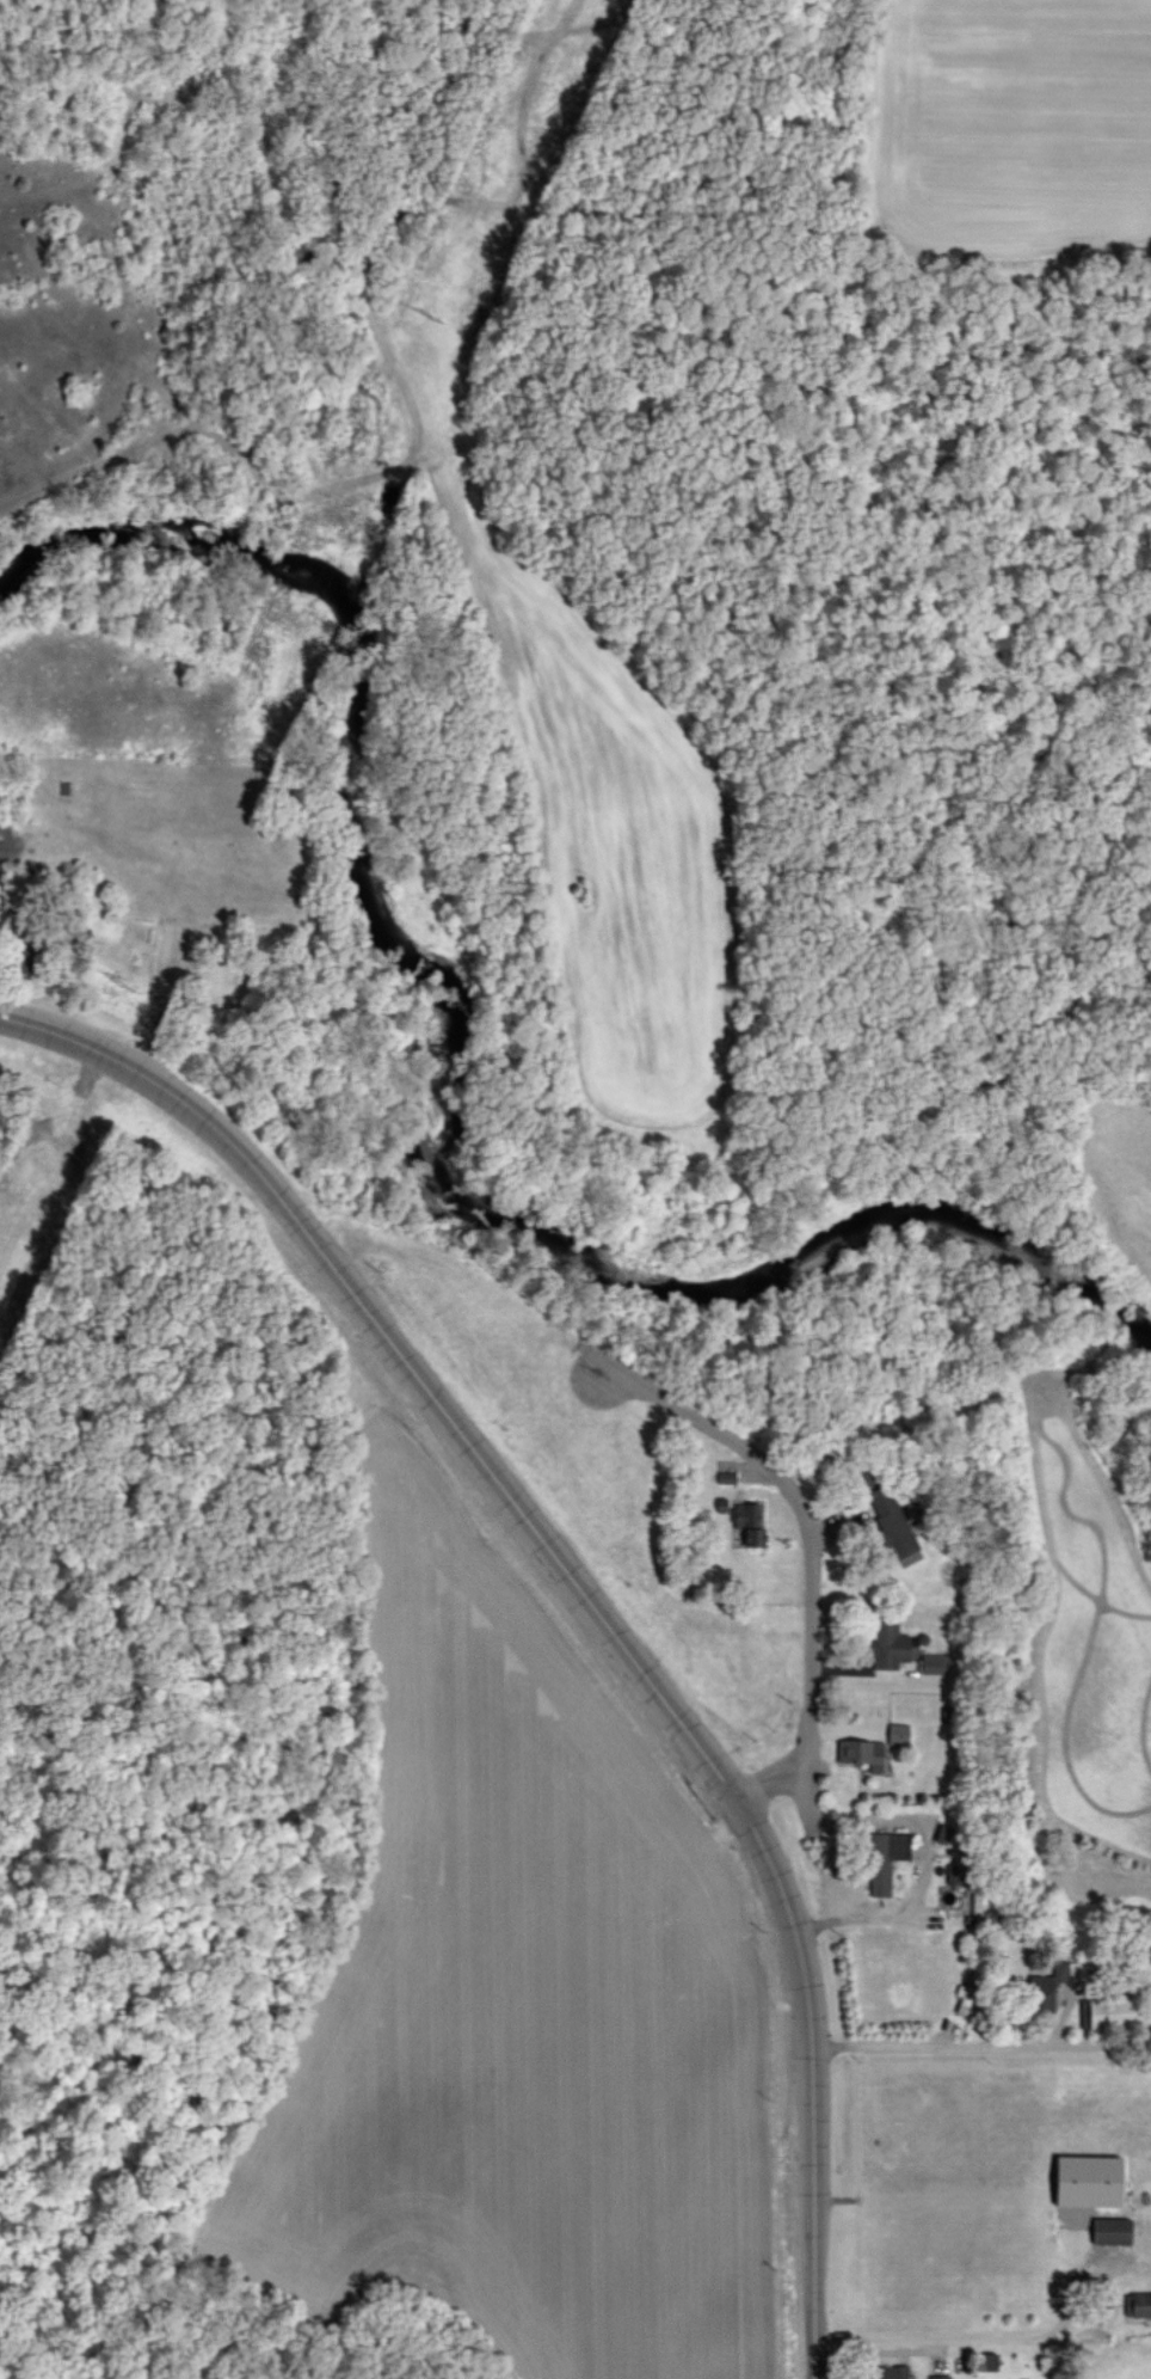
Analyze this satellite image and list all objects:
river: (419, 1074)
road: (620, 1381)
building: (749, 1522)
building: (893, 1522)
road: (808, 1532)
road: (584, 1600)
building: (888, 1645)
building: (935, 1663)
building: (899, 1733)
building: (862, 1752)
road: (773, 1783)
building: (886, 1858)
building: (955, 1872)
road: (924, 1876)
building: (1047, 1987)
building: (1110, 2012)
road: (1053, 2032)
road: (928, 2048)
building: (1089, 2181)
building: (1112, 2230)
building: (1138, 2304)
road: (978, 2340)
building: (986, 2361)
building: (893, 2372)
building: (940, 2377)

